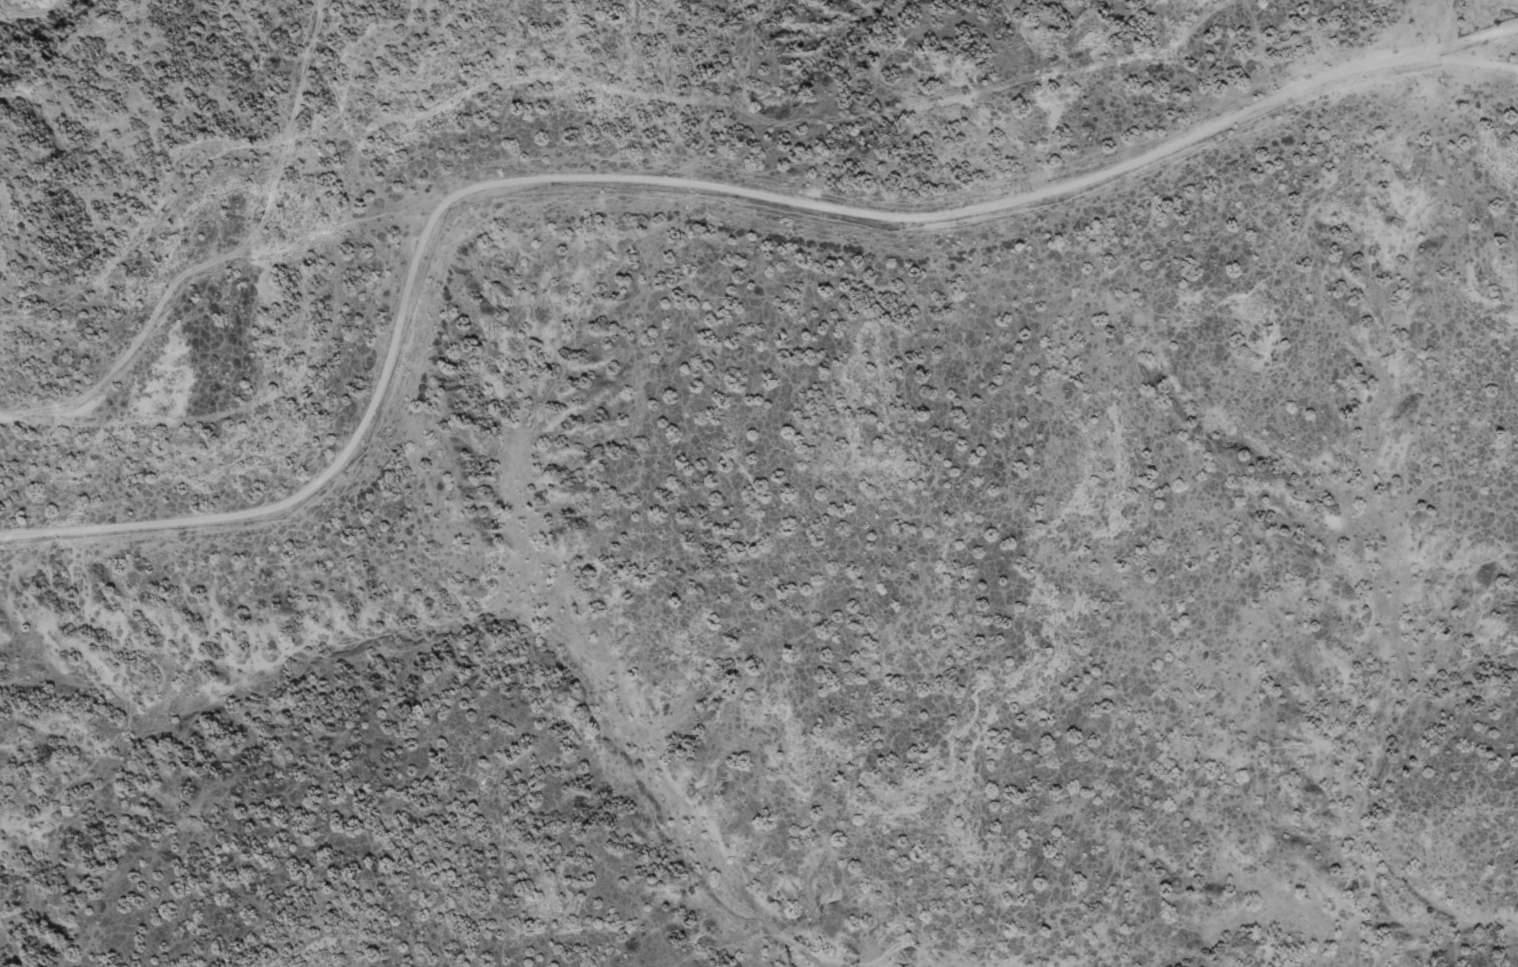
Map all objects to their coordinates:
road: (699, 186)

